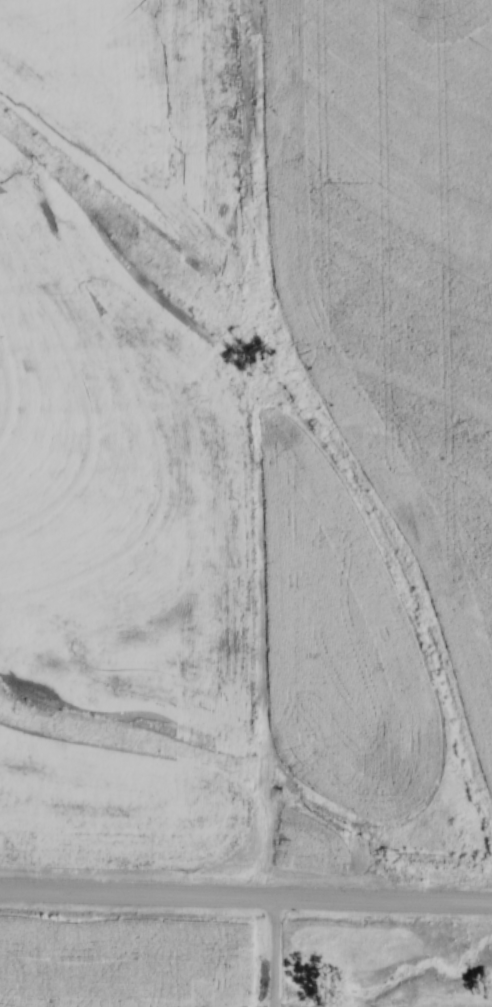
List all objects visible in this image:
road: (245, 897)
road: (272, 952)

